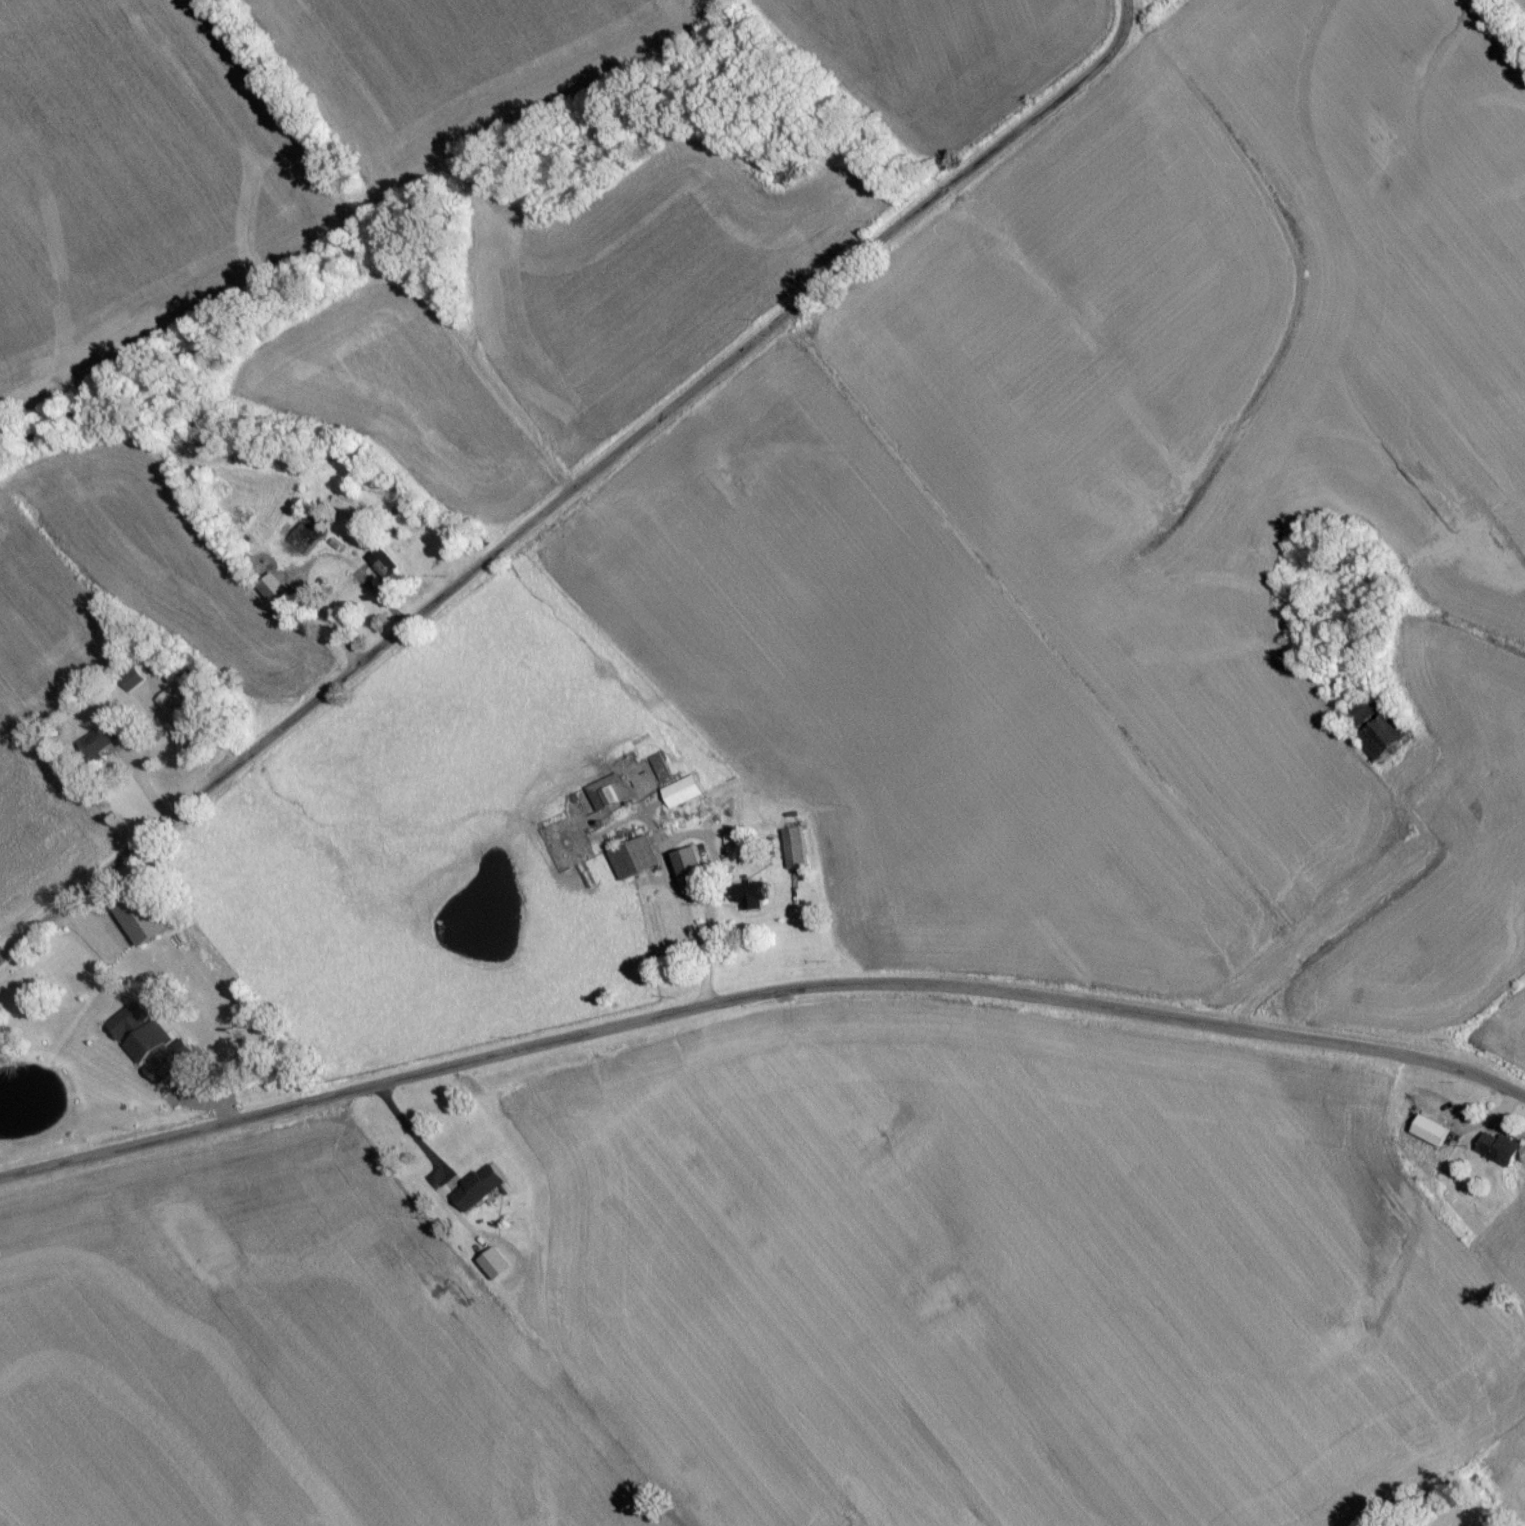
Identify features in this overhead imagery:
road: (1131, 2)
road: (576, 490)
building: (343, 511)
building: (306, 541)
building: (386, 573)
building: (278, 600)
building: (131, 685)
building: (172, 712)
building: (1383, 739)
building: (605, 743)
building: (100, 745)
building: (659, 772)
building: (607, 797)
building: (681, 797)
building: (794, 853)
building: (633, 864)
building: (689, 868)
road: (1379, 916)
road: (691, 927)
road: (759, 998)
road: (412, 1137)
building: (1499, 1153)
building: (477, 1193)

